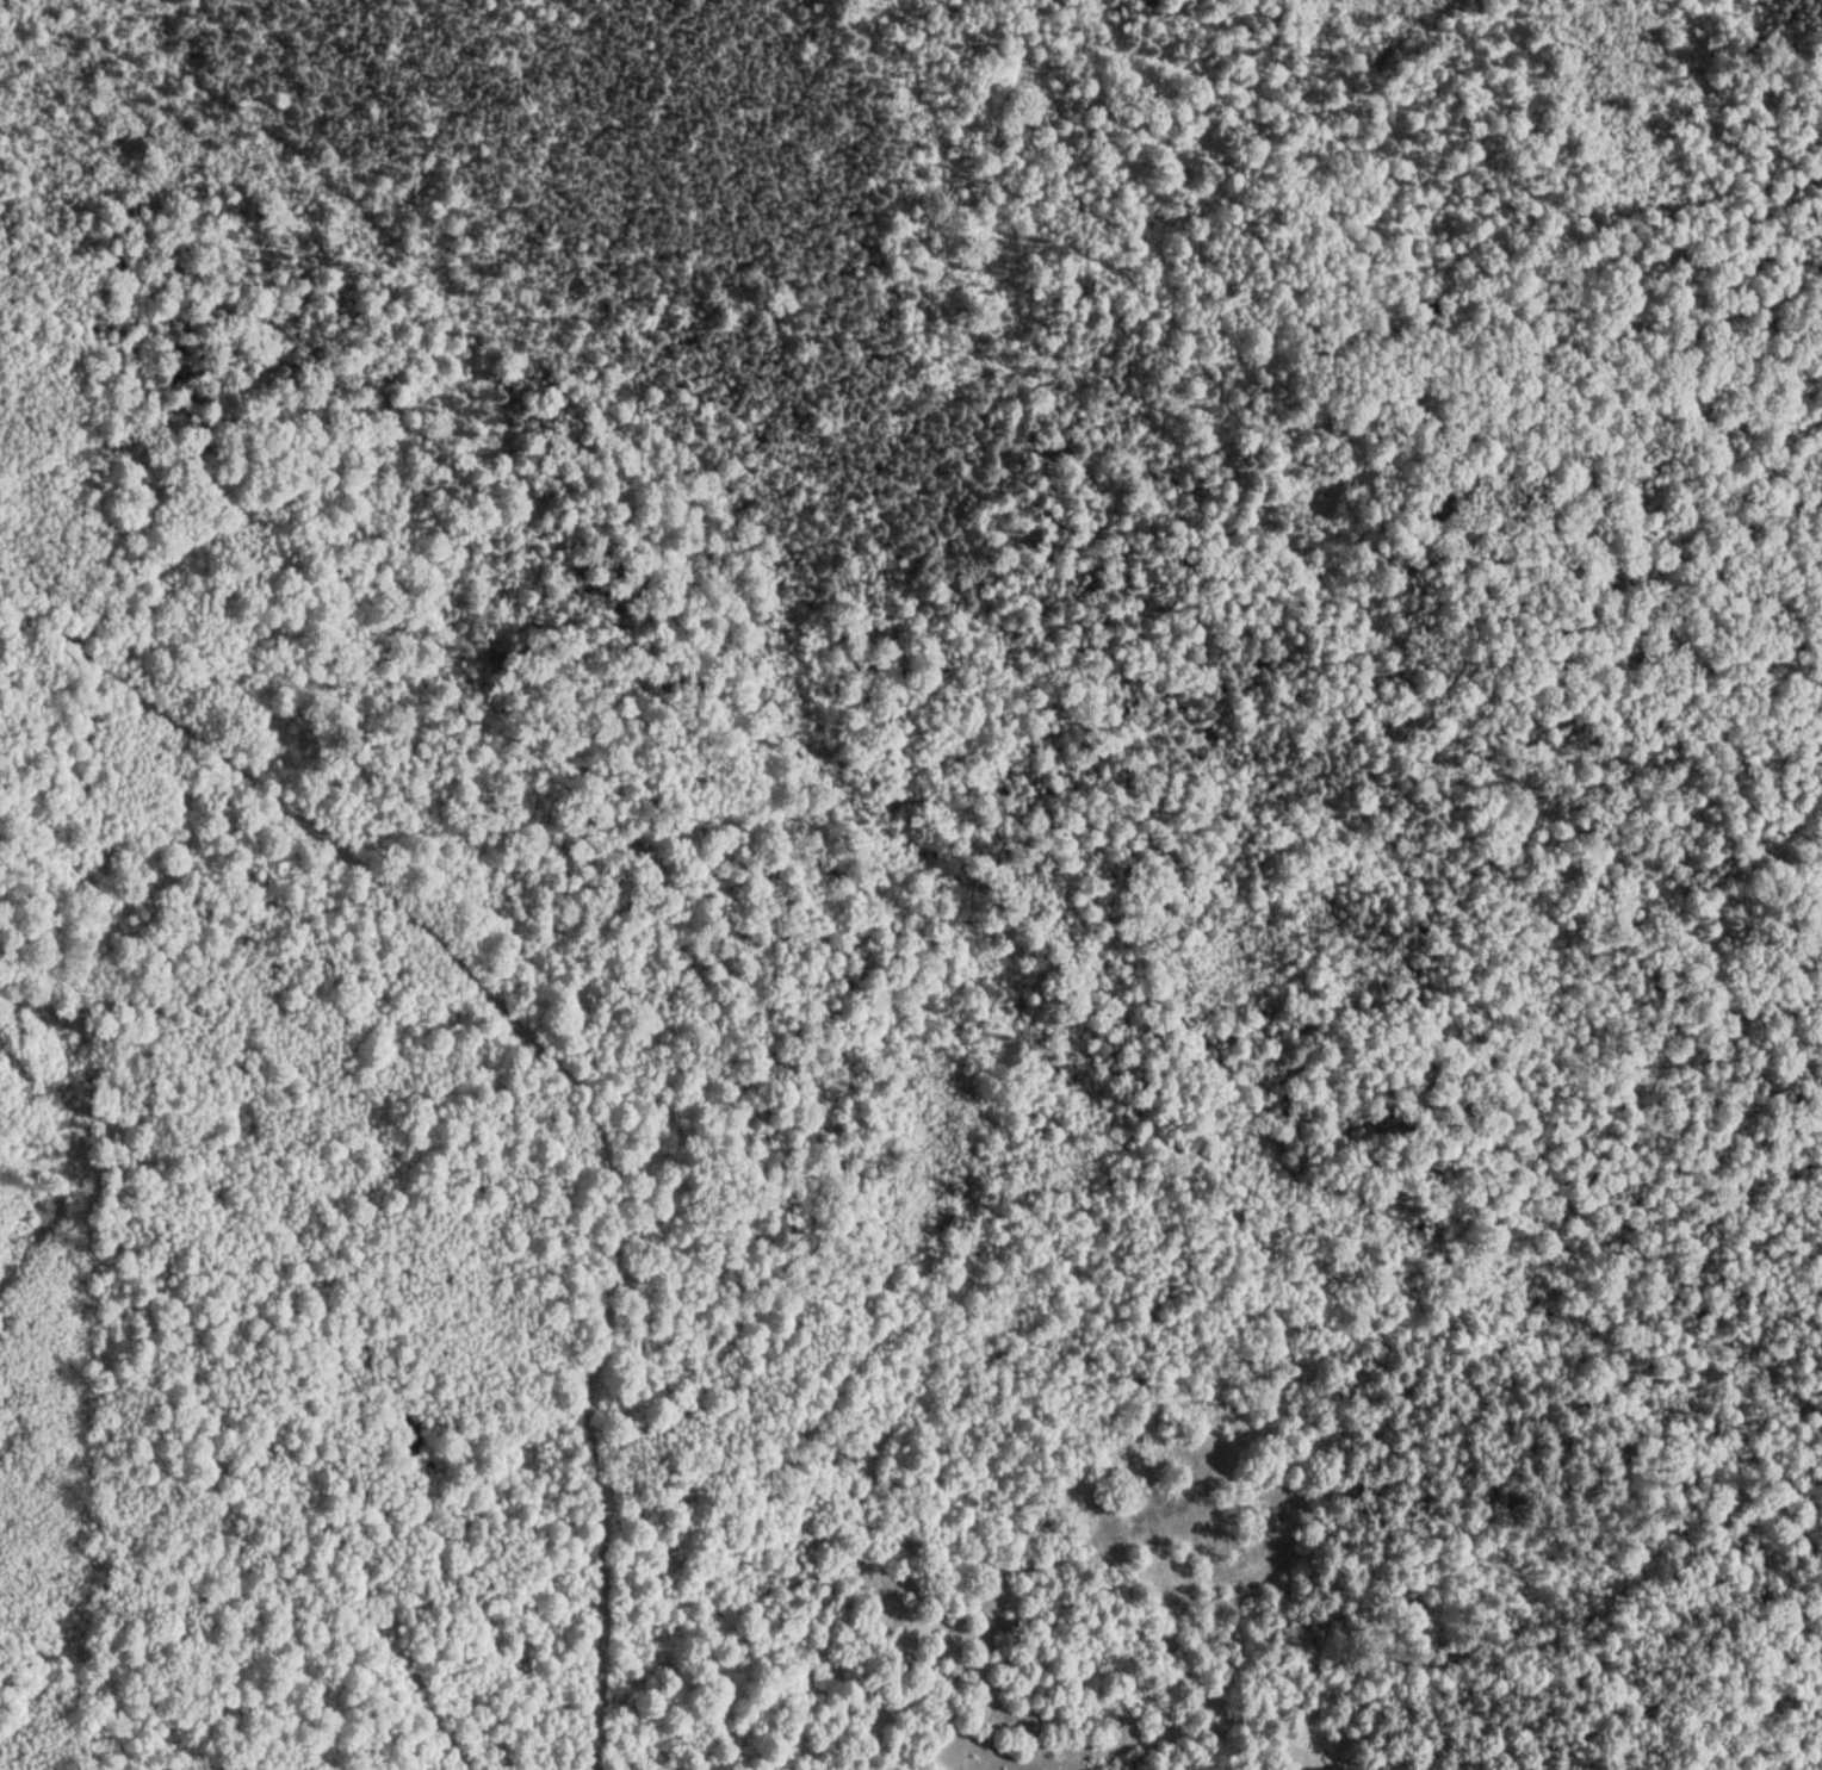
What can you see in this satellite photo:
road: (599, 1337)

